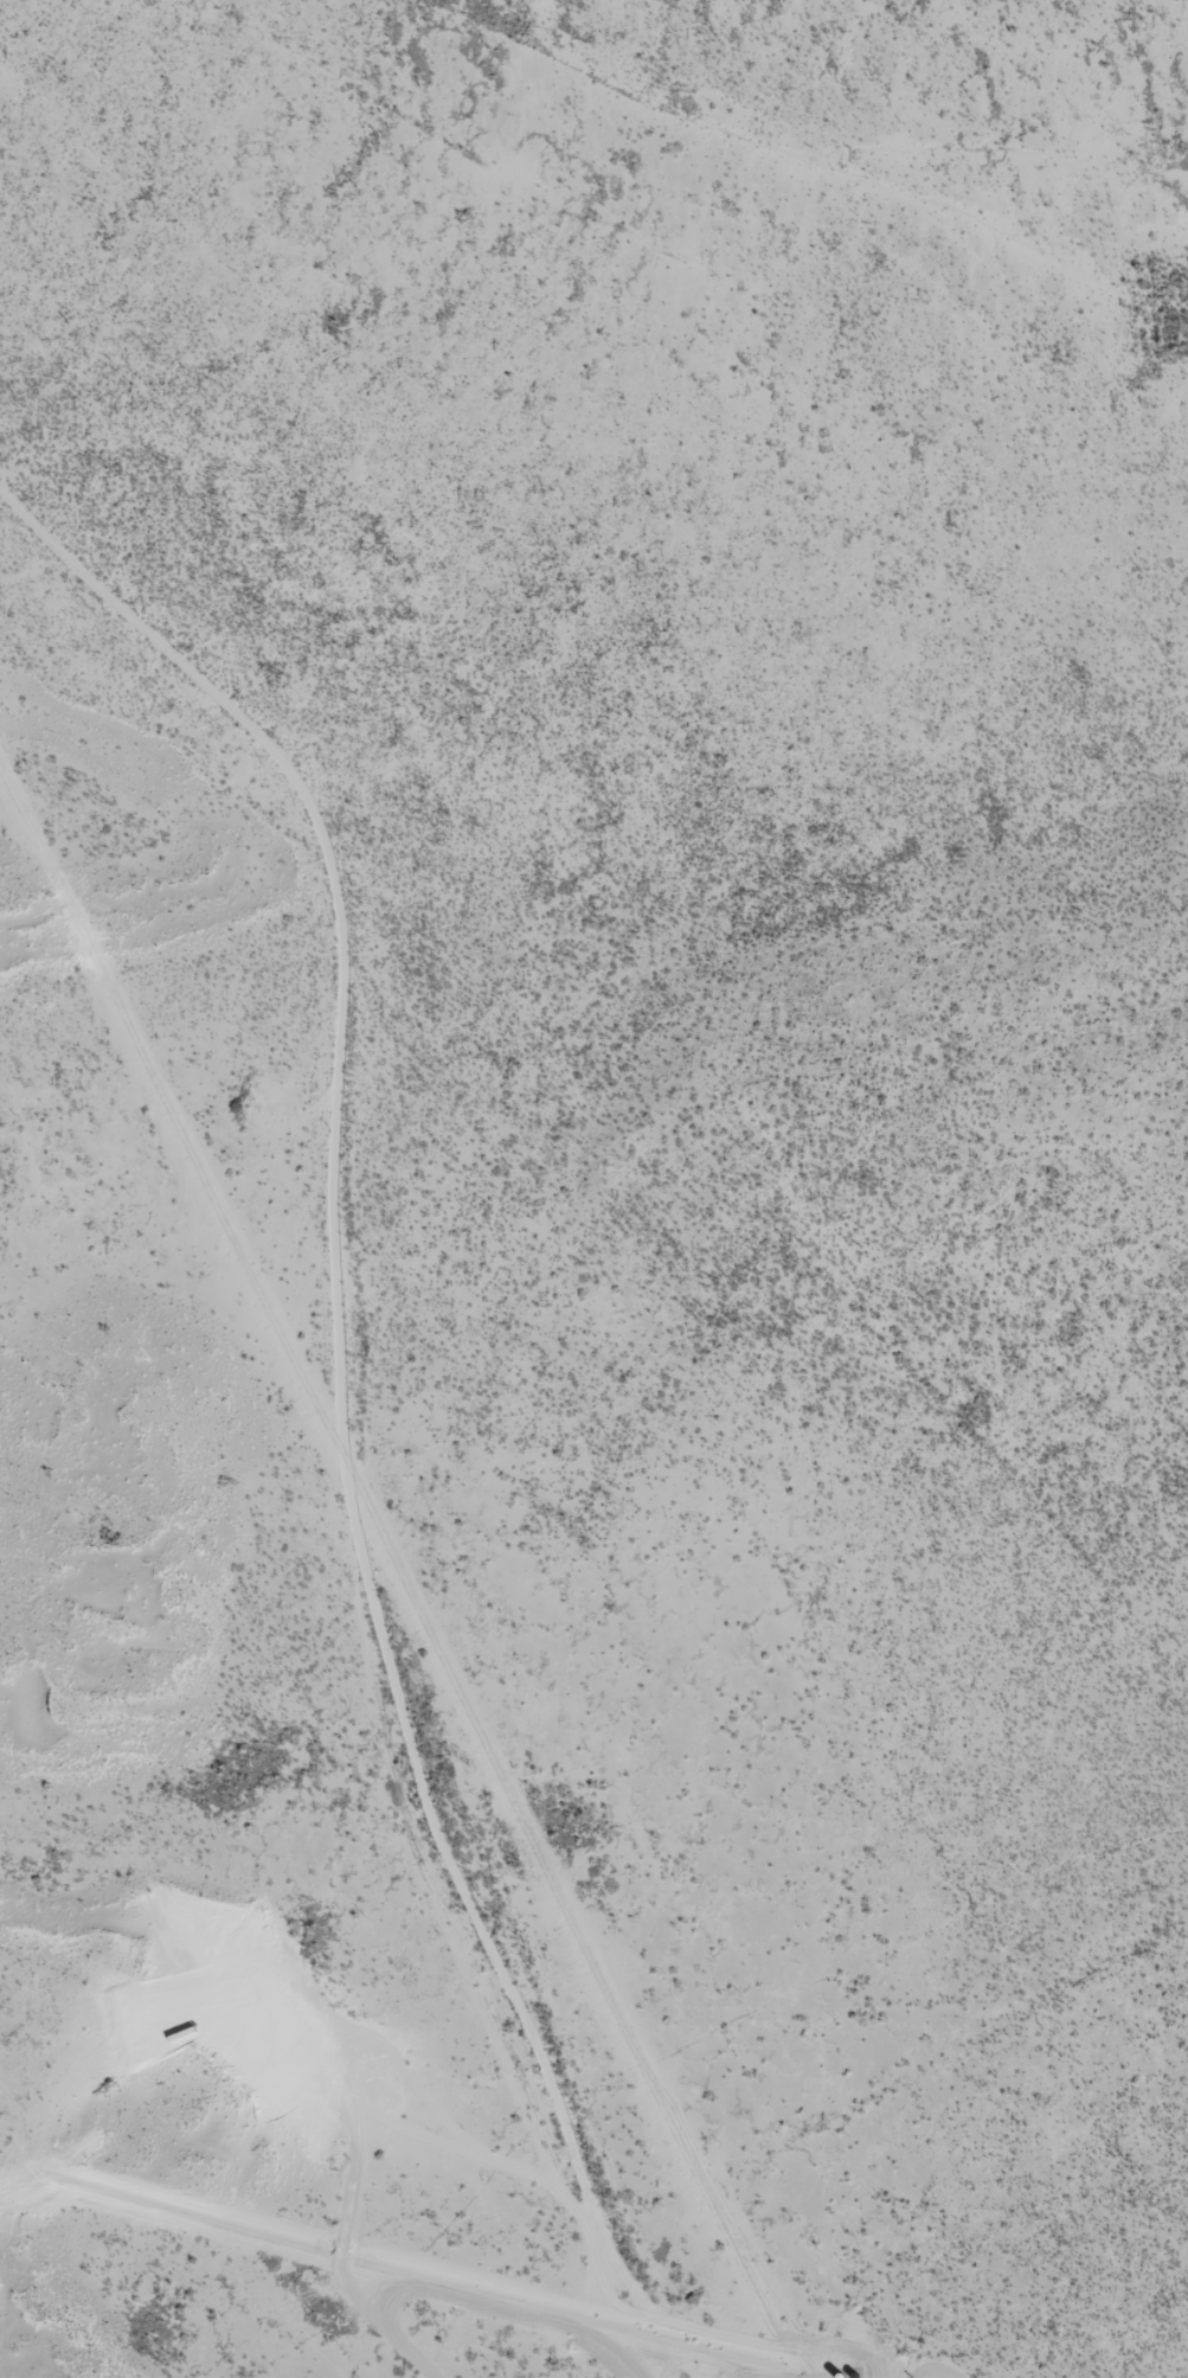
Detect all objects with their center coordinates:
road: (329, 1421)

